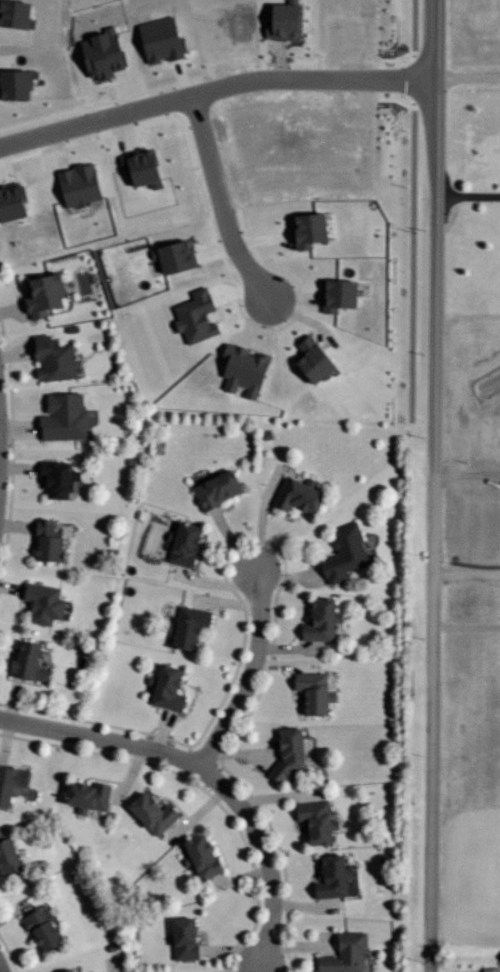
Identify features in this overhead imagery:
building: (279, 20)
building: (97, 52)
road: (470, 72)
building: (11, 82)
road: (216, 89)
building: (76, 184)
road: (469, 192)
building: (12, 200)
road: (222, 200)
building: (301, 228)
building: (170, 255)
building: (38, 291)
building: (333, 294)
building: (192, 316)
building: (49, 358)
building: (307, 359)
building: (241, 370)
building: (61, 417)
road: (468, 478)
building: (54, 480)
road: (435, 485)
building: (210, 488)
building: (294, 494)
building: (42, 539)
building: (180, 544)
building: (341, 553)
road: (467, 574)
building: (39, 602)
building: (315, 620)
building: (184, 624)
building: (24, 661)
road: (251, 674)
building: (163, 688)
building: (308, 691)
building: (282, 752)
road: (208, 773)
building: (10, 779)
building: (82, 796)
building: (148, 813)
building: (311, 822)
building: (4, 854)
building: (197, 856)
building: (329, 877)
building: (37, 926)
building: (179, 940)
building: (341, 954)
building: (61, 970)
road: (0, 971)

